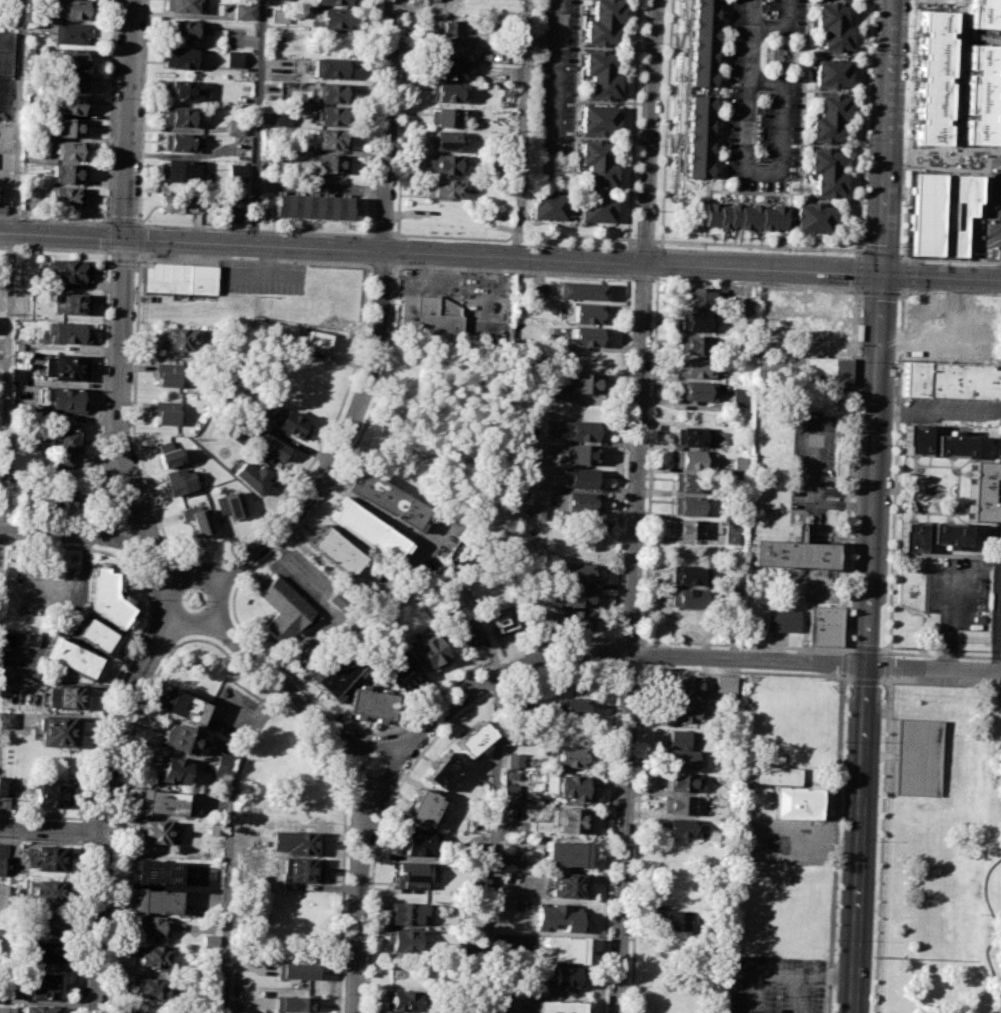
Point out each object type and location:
building: (285, 0)
building: (332, 2)
building: (182, 5)
building: (74, 9)
building: (244, 12)
building: (983, 14)
road: (186, 16)
building: (280, 16)
building: (333, 16)
building: (601, 22)
building: (446, 26)
building: (832, 27)
road: (781, 29)
building: (181, 30)
building: (70, 32)
building: (541, 38)
building: (701, 43)
building: (446, 47)
building: (5, 52)
building: (180, 58)
building: (71, 59)
building: (233, 59)
building: (331, 68)
building: (448, 70)
road: (557, 70)
building: (831, 73)
building: (599, 74)
building: (933, 76)
building: (68, 81)
road: (745, 81)
building: (182, 91)
building: (331, 92)
building: (446, 92)
building: (980, 94)
building: (68, 104)
building: (330, 116)
building: (181, 117)
building: (282, 117)
building: (443, 117)
building: (598, 118)
building: (829, 118)
road: (128, 120)
road: (257, 122)
road: (388, 126)
building: (64, 127)
building: (235, 127)
road: (780, 127)
road: (522, 129)
road: (908, 130)
road: (651, 132)
building: (698, 137)
building: (329, 139)
building: (443, 141)
building: (181, 142)
building: (240, 147)
building: (66, 150)
building: (328, 163)
building: (596, 163)
building: (441, 164)
building: (64, 172)
building: (184, 172)
building: (236, 172)
building: (826, 172)
road: (320, 186)
building: (444, 189)
building: (62, 196)
building: (180, 203)
building: (2, 205)
building: (547, 205)
building: (309, 207)
building: (234, 208)
building: (595, 208)
building: (941, 212)
building: (742, 215)
building: (813, 217)
road: (54, 219)
road: (122, 222)
road: (255, 230)
road: (382, 234)
road: (513, 234)
road: (61, 237)
road: (645, 239)
road: (759, 245)
road: (253, 246)
road: (881, 254)
road: (514, 257)
road: (949, 261)
building: (65, 270)
road: (1000, 272)
road: (822, 273)
road: (903, 274)
traffic signals: (883, 276)
building: (178, 278)
road: (11, 283)
building: (581, 290)
road: (859, 293)
building: (704, 297)
building: (71, 303)
building: (740, 305)
building: (429, 312)
building: (587, 313)
building: (806, 318)
building: (702, 321)
building: (66, 332)
building: (586, 335)
building: (315, 338)
building: (178, 339)
building: (702, 344)
building: (225, 349)
power tower: (901, 360)
building: (66, 367)
building: (702, 368)
building: (802, 371)
building: (17, 376)
building: (167, 379)
building: (950, 380)
building: (585, 382)
building: (697, 390)
building: (64, 397)
building: (741, 397)
road: (933, 409)
parking lot: (949, 411)
building: (166, 412)
road: (118, 421)
building: (291, 425)
building: (582, 430)
building: (692, 436)
building: (720, 437)
building: (914, 439)
building: (951, 445)
road: (340, 446)
building: (65, 448)
building: (270, 448)
building: (167, 453)
building: (582, 453)
building: (691, 458)
building: (739, 465)
road: (812, 466)
road: (895, 472)
building: (251, 476)
building: (580, 477)
building: (180, 480)
building: (692, 482)
road: (842, 491)
building: (981, 491)
road: (108, 494)
building: (60, 497)
building: (386, 498)
building: (580, 501)
building: (230, 504)
road: (840, 504)
building: (690, 505)
road: (873, 506)
building: (536, 512)
building: (197, 519)
building: (365, 528)
building: (689, 528)
road: (75, 533)
building: (730, 534)
building: (947, 534)
building: (911, 536)
building: (335, 550)
building: (791, 552)
building: (576, 572)
building: (688, 574)
road: (199, 584)
building: (105, 597)
building: (575, 597)
building: (687, 597)
road: (998, 598)
road: (176, 600)
road: (948, 605)
building: (284, 608)
road: (196, 611)
building: (500, 617)
road: (948, 618)
building: (576, 619)
building: (780, 620)
building: (821, 624)
road: (143, 629)
building: (94, 634)
building: (464, 634)
road: (631, 639)
building: (25, 640)
road: (215, 645)
power tower: (891, 648)
building: (431, 652)
building: (69, 656)
road: (684, 656)
road: (843, 663)
road: (629, 665)
road: (889, 665)
road: (641, 666)
building: (340, 671)
road: (737, 671)
building: (18, 673)
building: (401, 674)
road: (865, 678)
road: (277, 679)
building: (685, 685)
building: (727, 691)
building: (67, 695)
building: (370, 703)
building: (180, 705)
building: (572, 706)
building: (683, 712)
building: (6, 720)
building: (56, 731)
building: (185, 738)
building: (473, 738)
building: (680, 738)
road: (372, 742)
building: (570, 756)
building: (915, 757)
building: (681, 759)
building: (514, 760)
building: (222, 766)
building: (443, 770)
building: (174, 771)
road: (408, 771)
road: (352, 773)
road: (392, 776)
building: (680, 782)
building: (573, 787)
building: (5, 791)
building: (509, 792)
building: (787, 792)
building: (49, 794)
road: (103, 802)
building: (160, 802)
building: (679, 804)
building: (422, 808)
building: (509, 810)
building: (570, 819)
road: (50, 827)
building: (678, 827)
road: (82, 831)
building: (155, 832)
road: (608, 839)
parking lot: (788, 840)
building: (301, 842)
road: (230, 843)
building: (417, 843)
road: (495, 843)
road: (881, 843)
road: (808, 845)
building: (565, 853)
building: (48, 858)
building: (511, 860)
building: (4, 866)
building: (300, 869)
building: (155, 871)
building: (412, 872)
building: (264, 875)
building: (479, 885)
building: (567, 885)
building: (48, 891)
building: (3, 896)
building: (154, 901)
road: (356, 901)
building: (407, 913)
building: (557, 916)
building: (470, 920)
building: (675, 920)
building: (51, 925)
road: (78, 926)
building: (148, 926)
building: (208, 940)
building: (403, 940)
building: (469, 948)
building: (562, 949)
building: (49, 952)
building: (151, 956)
power tower: (874, 957)
building: (295, 970)
road: (786, 975)
building: (564, 976)
parking lot: (776, 985)
building: (41, 986)
building: (147, 987)
road: (801, 994)
building: (294, 999)
building: (402, 1001)
building: (557, 1006)
building: (7, 1009)
building: (36, 1009)
road: (507, 1011)
building: (145, 1012)

